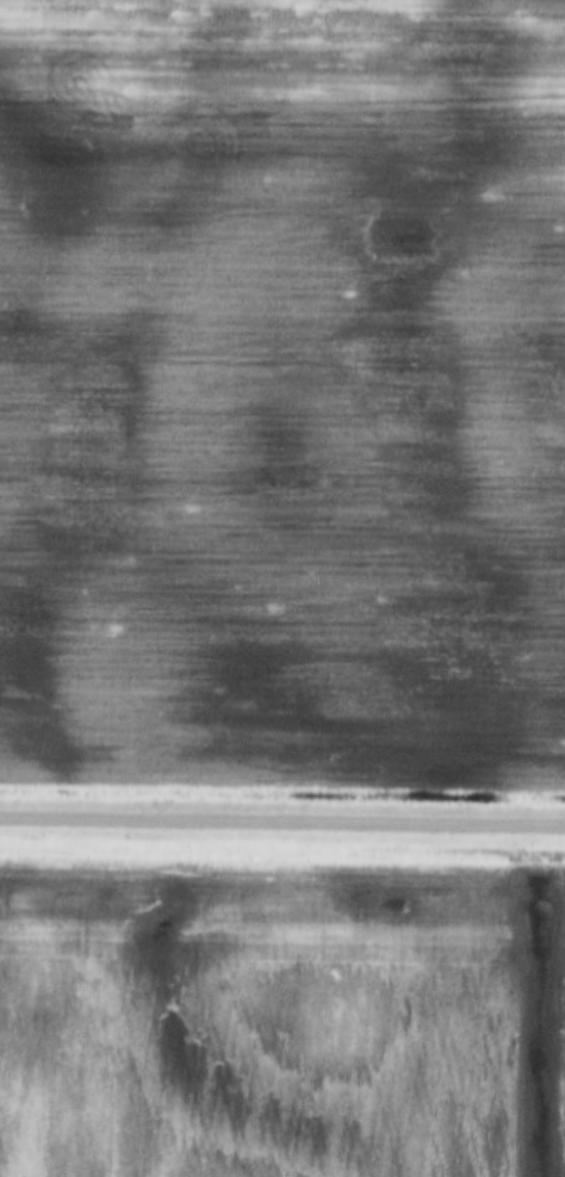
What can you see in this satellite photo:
road: (282, 825)

